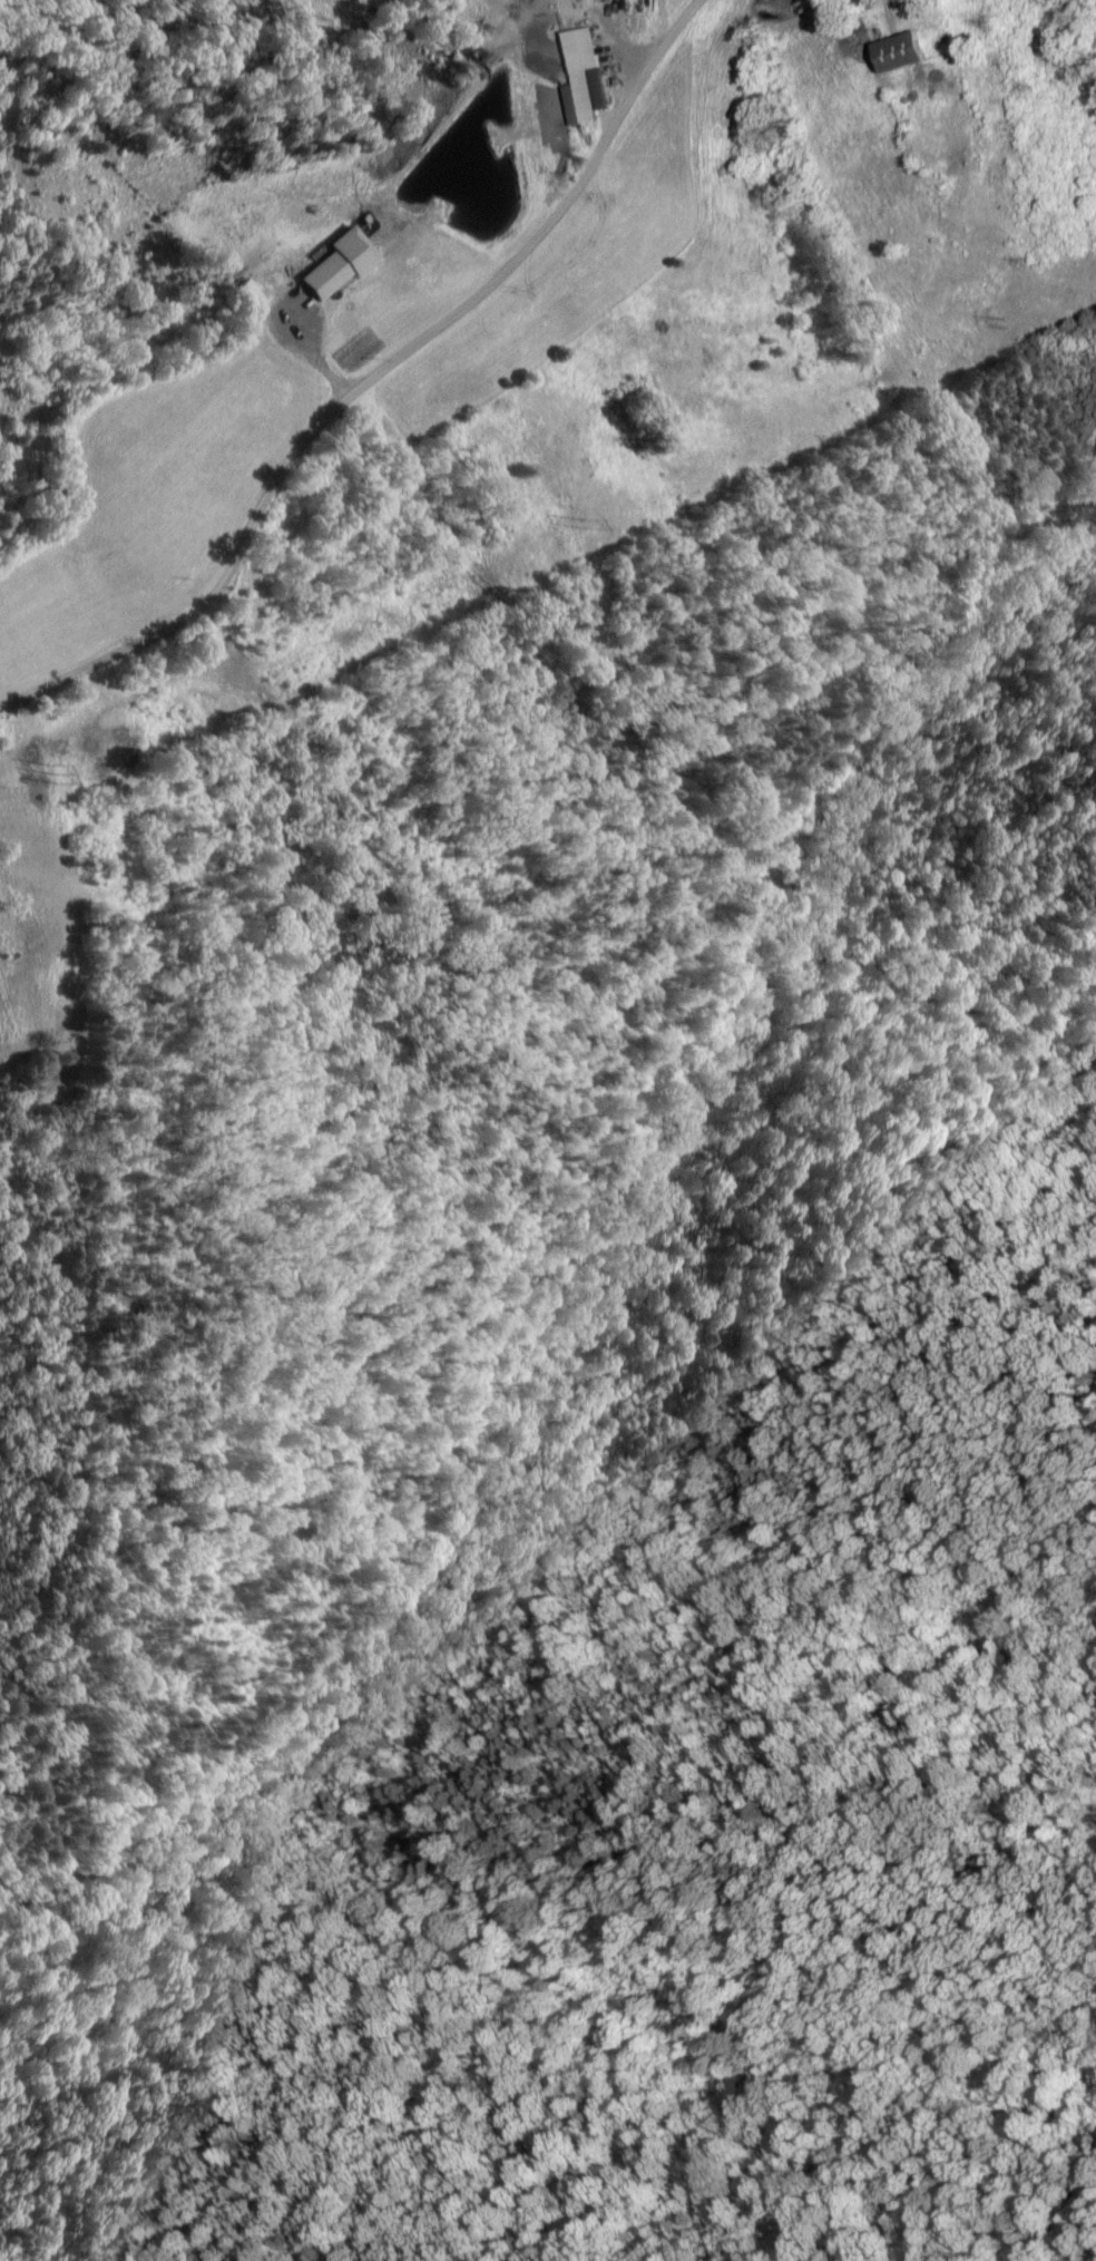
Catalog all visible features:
building: (900, 52)
building: (584, 78)
building: (337, 263)
power tower: (1008, 322)
road: (284, 338)
road: (371, 377)
power tower: (578, 524)
power tower: (42, 772)

